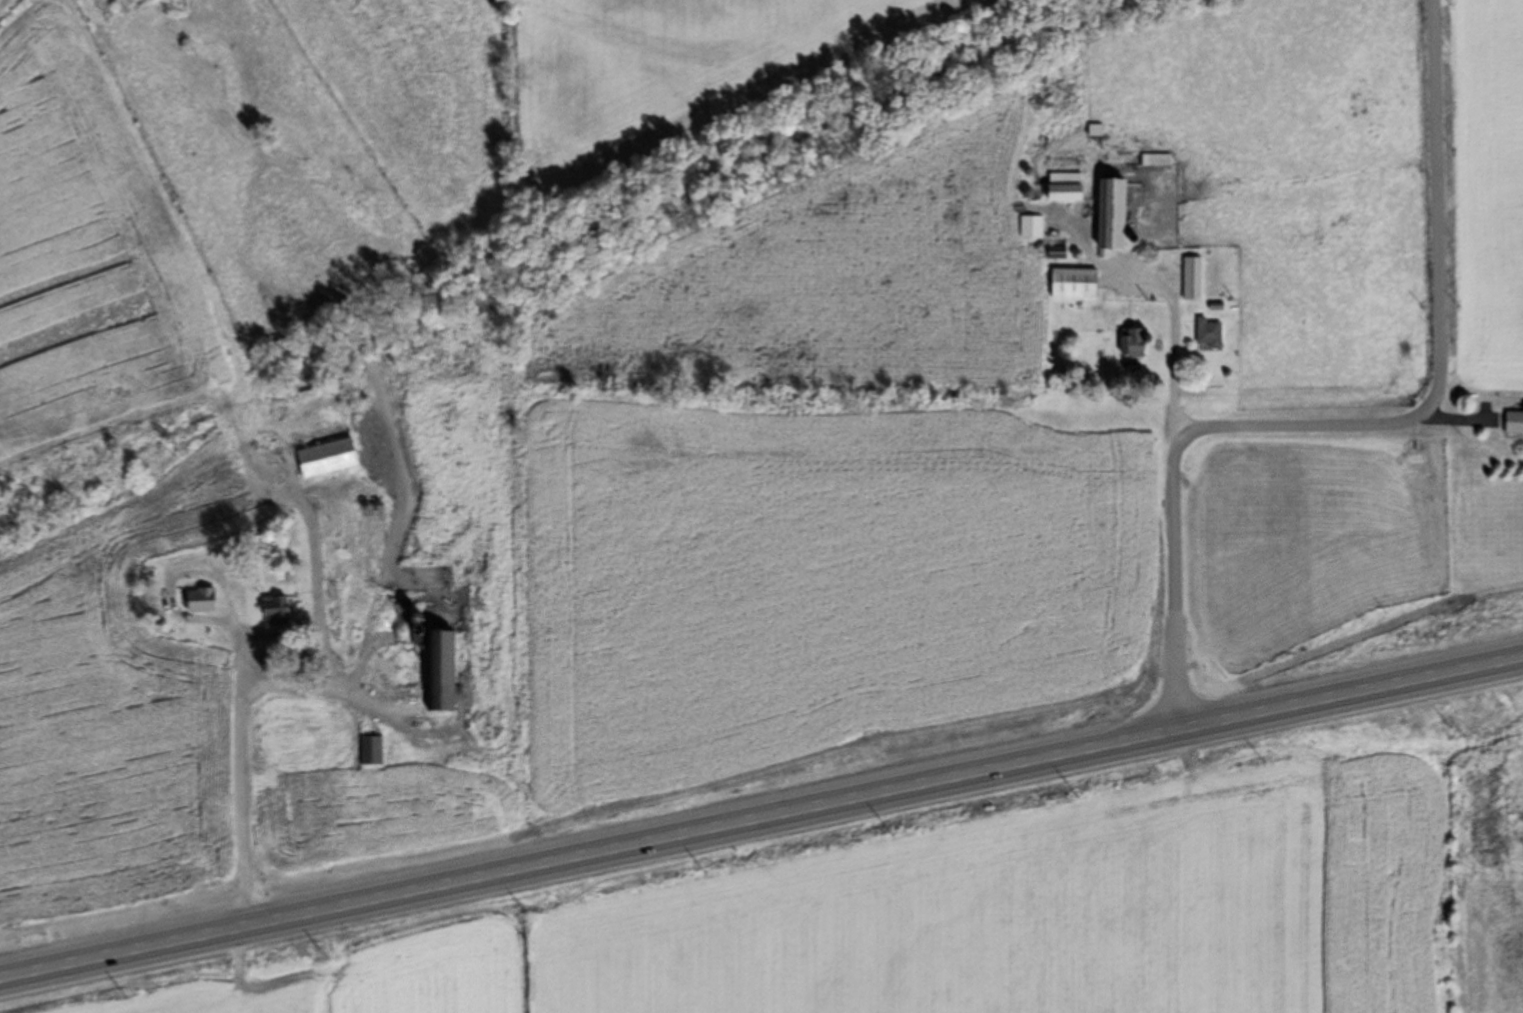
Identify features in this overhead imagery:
building: (1067, 188)
road: (1435, 208)
building: (1113, 216)
building: (1030, 227)
building: (1074, 284)
building: (1192, 286)
building: (1209, 335)
building: (1134, 343)
building: (1515, 424)
building: (328, 460)
road: (1174, 462)
building: (202, 601)
building: (276, 612)
building: (443, 669)
road: (233, 746)
building: (372, 751)
road: (761, 815)

